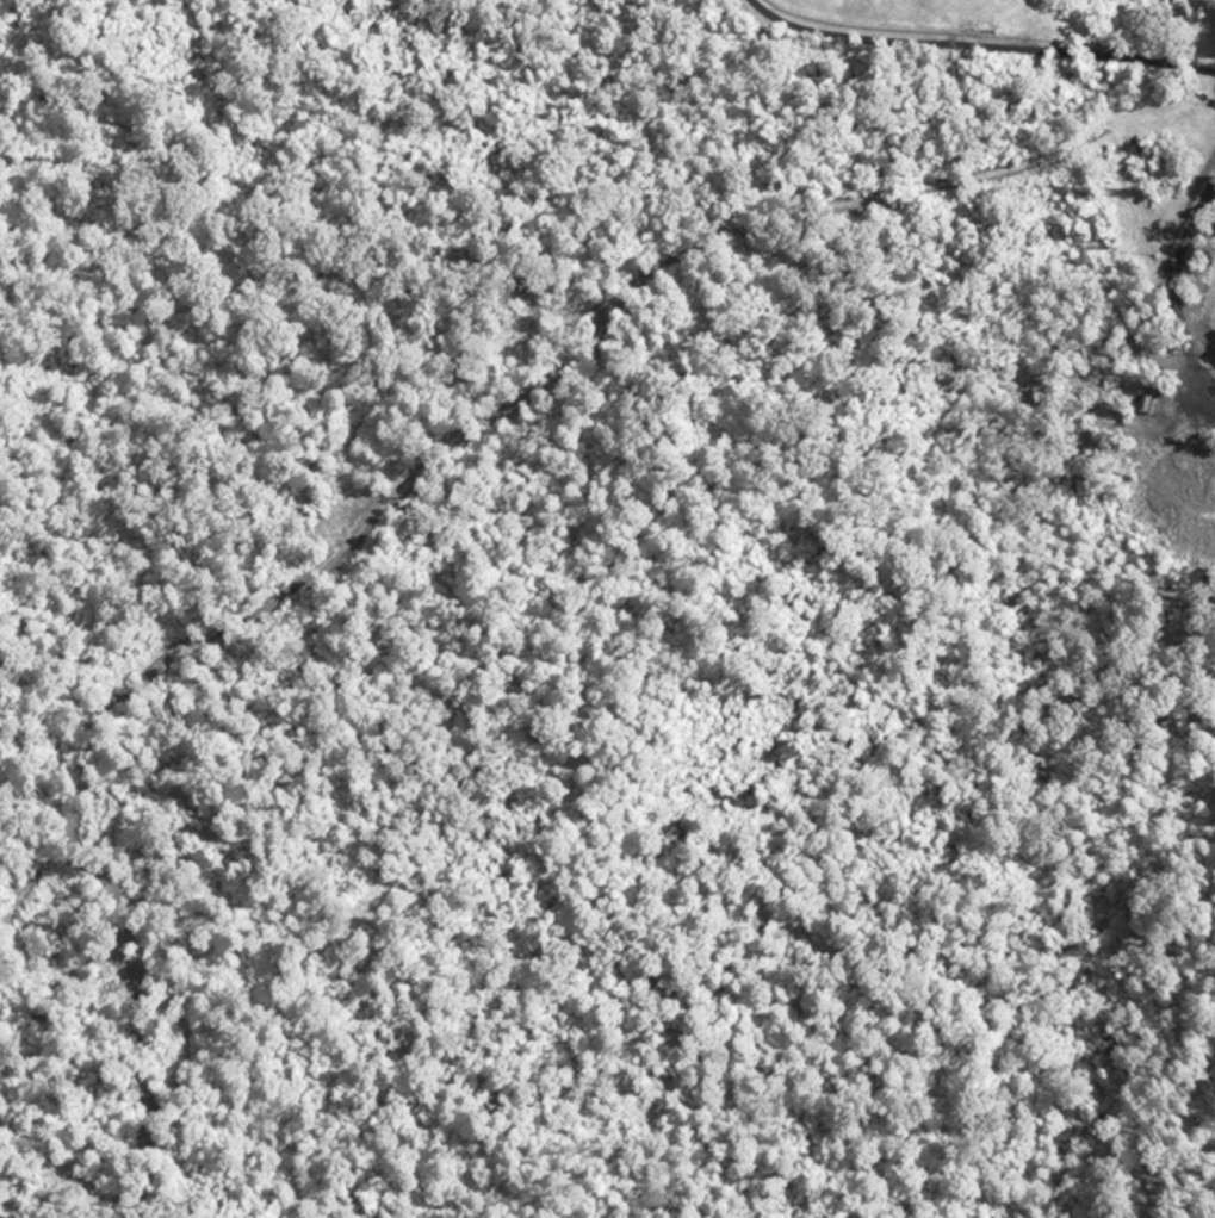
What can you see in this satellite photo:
road: (980, 44)
road: (606, 213)
building: (1142, 409)

